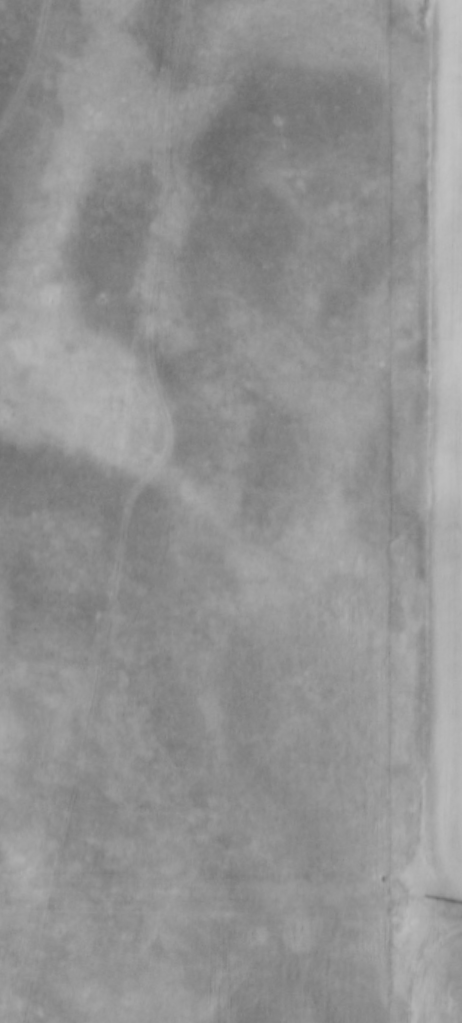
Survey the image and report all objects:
road: (56, 50)

